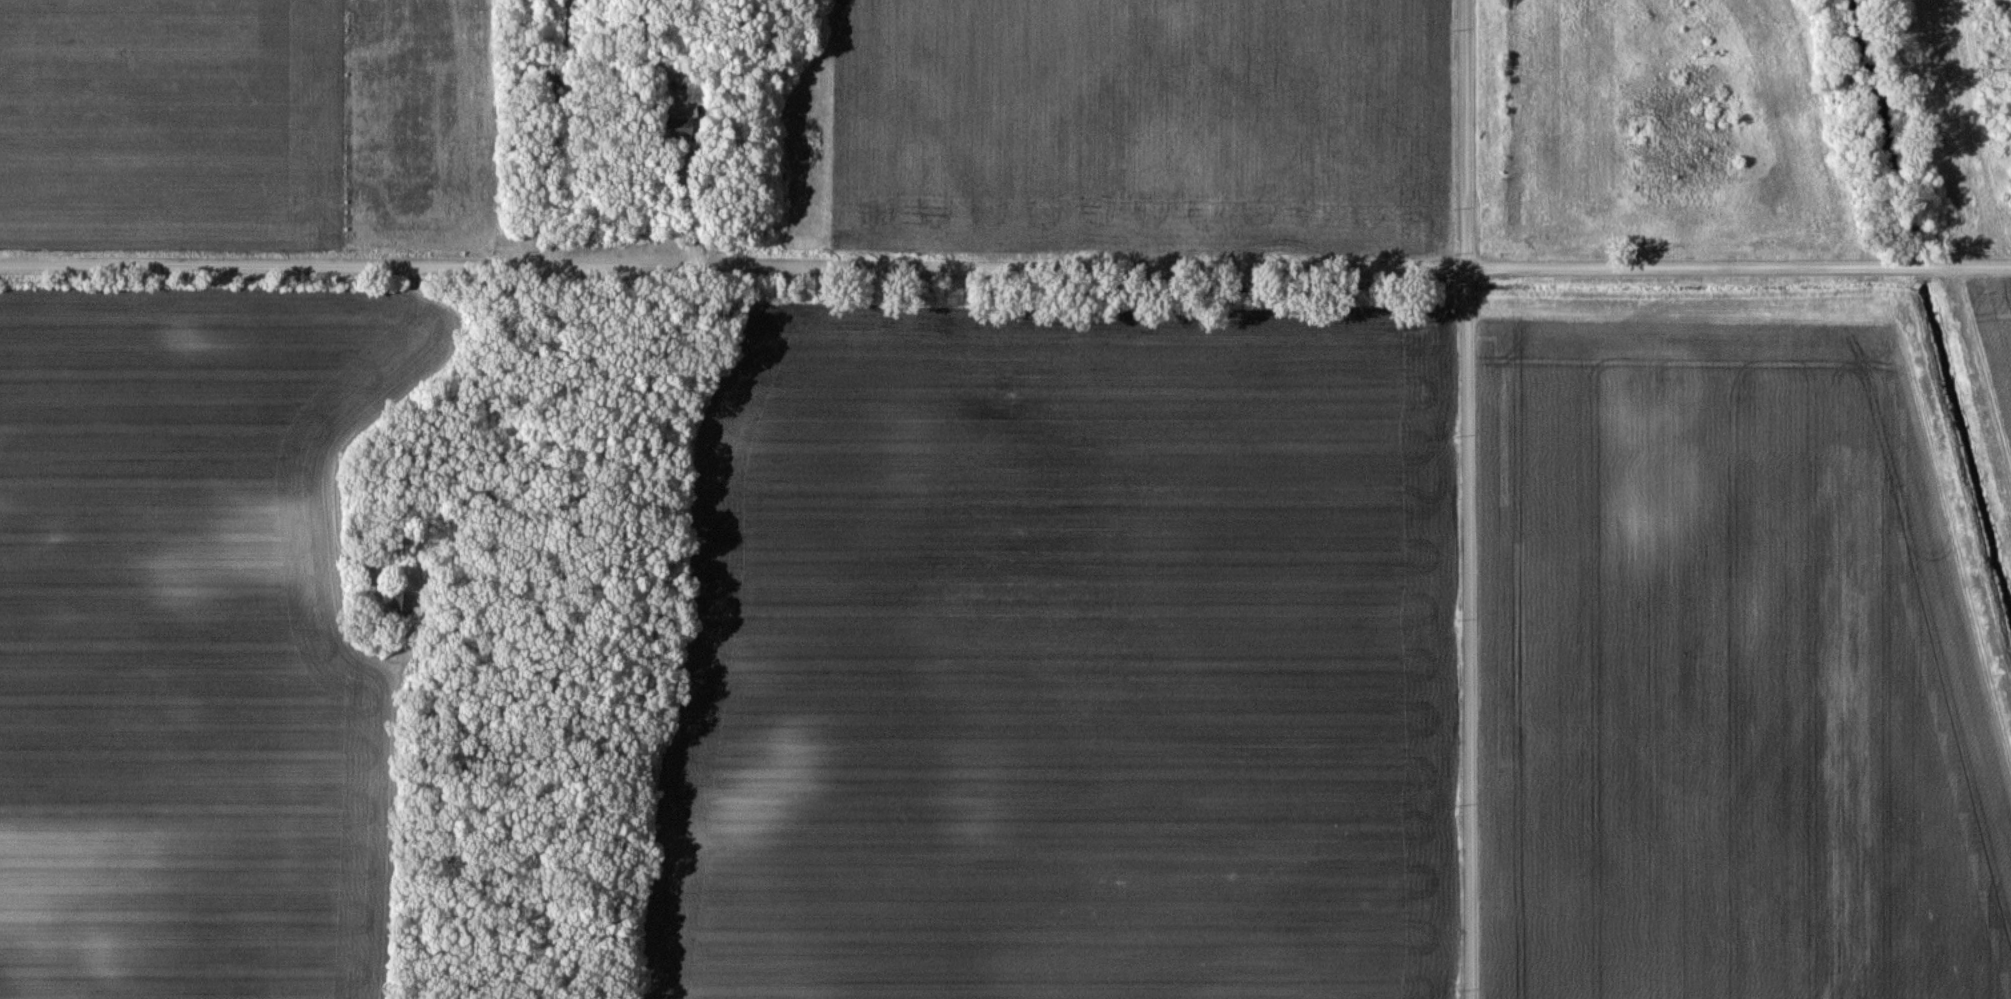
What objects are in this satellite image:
road: (694, 204)
road: (1948, 262)
road: (942, 265)
road: (391, 412)
road: (1467, 499)

